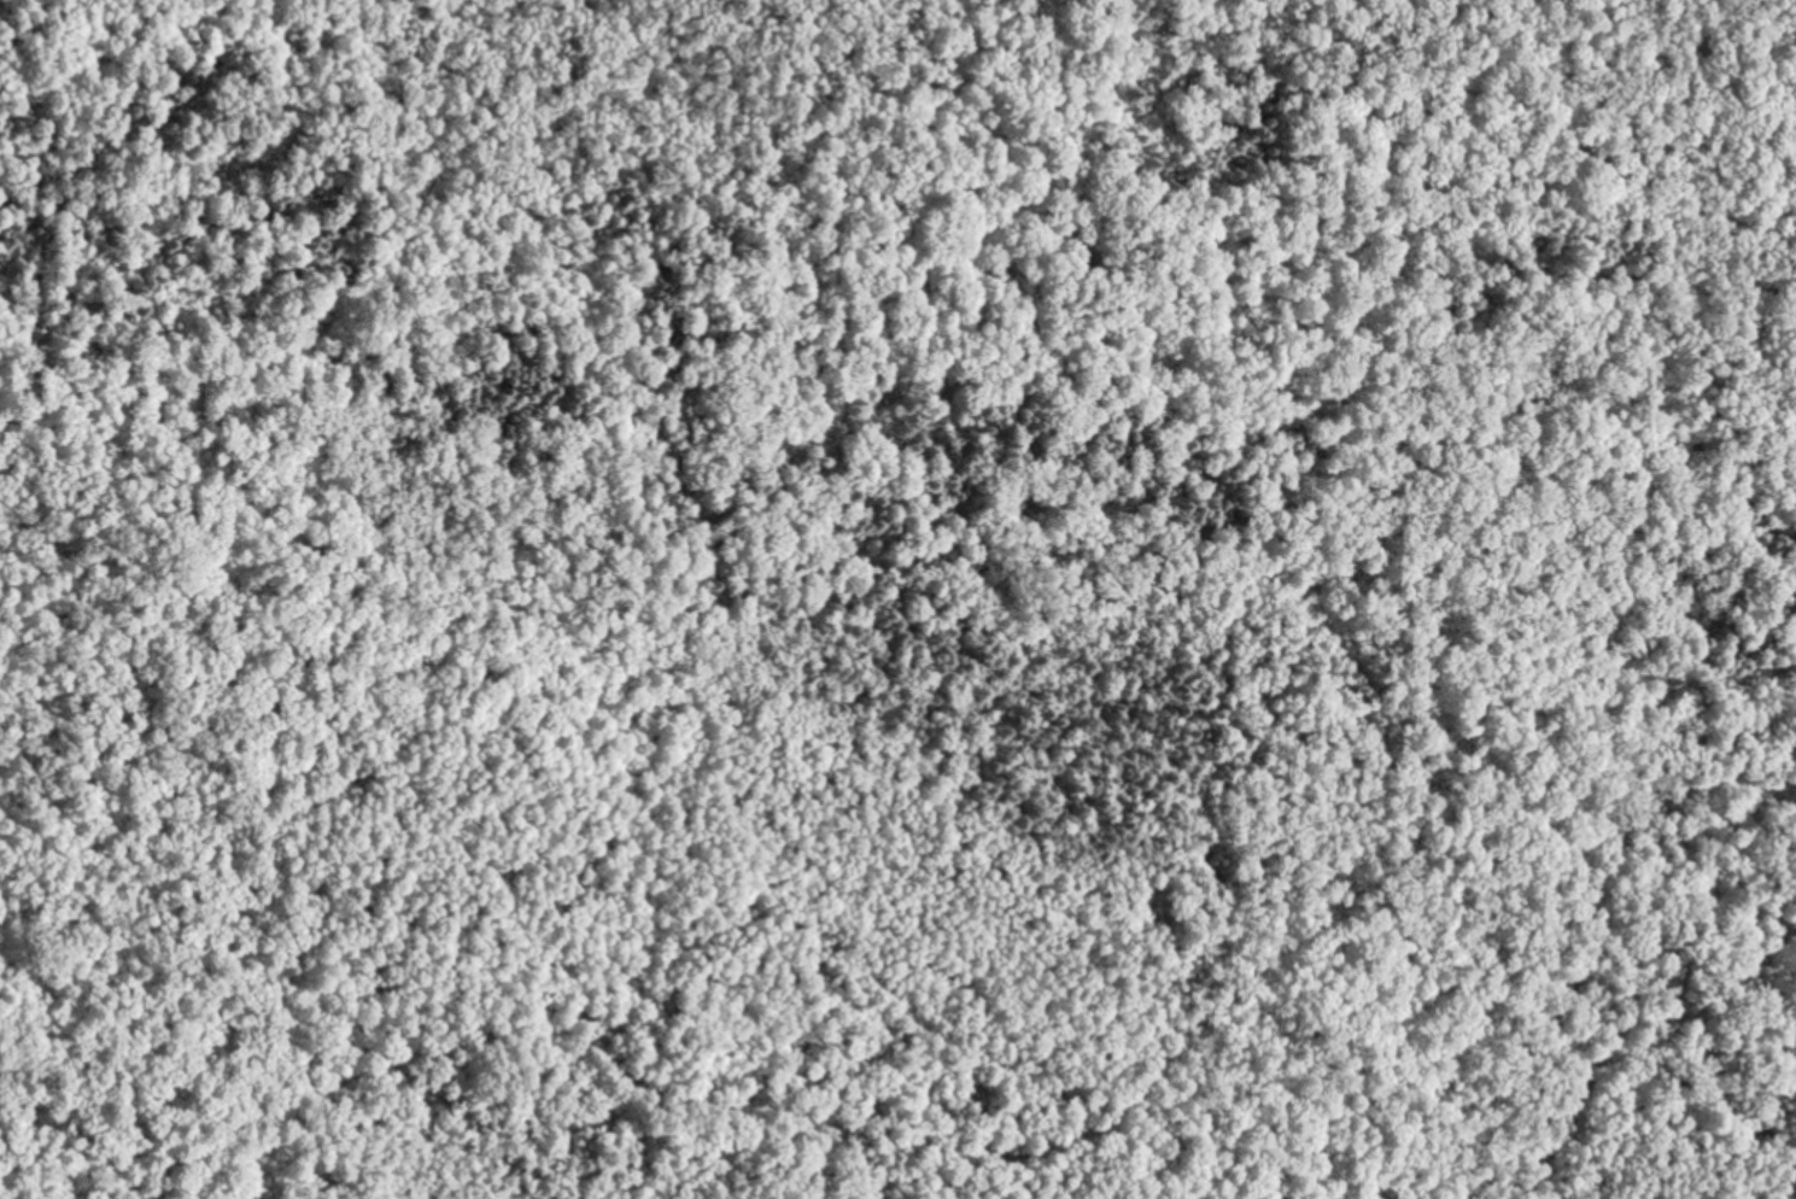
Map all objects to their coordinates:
road: (665, 1082)

